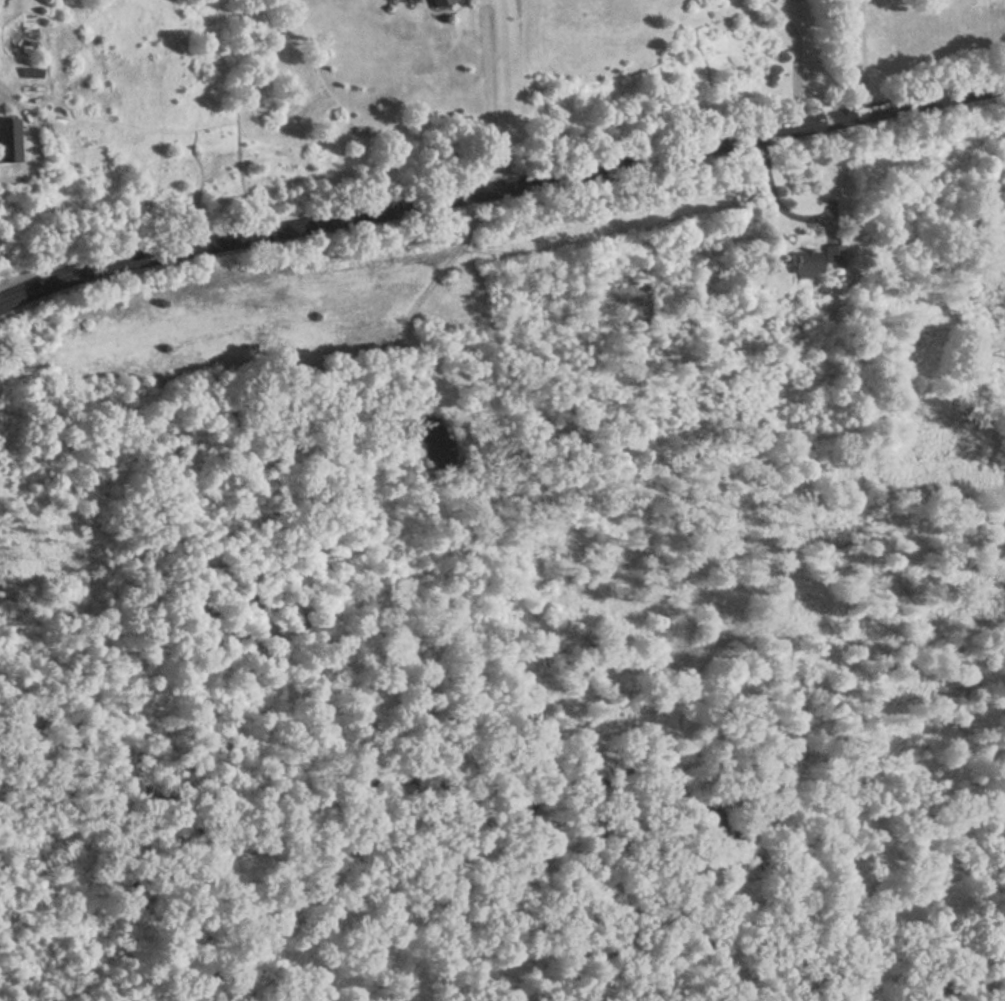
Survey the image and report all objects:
road: (796, 56)
road: (862, 57)
road: (492, 93)
building: (9, 137)
road: (35, 142)
road: (500, 187)
road: (775, 193)
building: (832, 255)
building: (807, 261)

